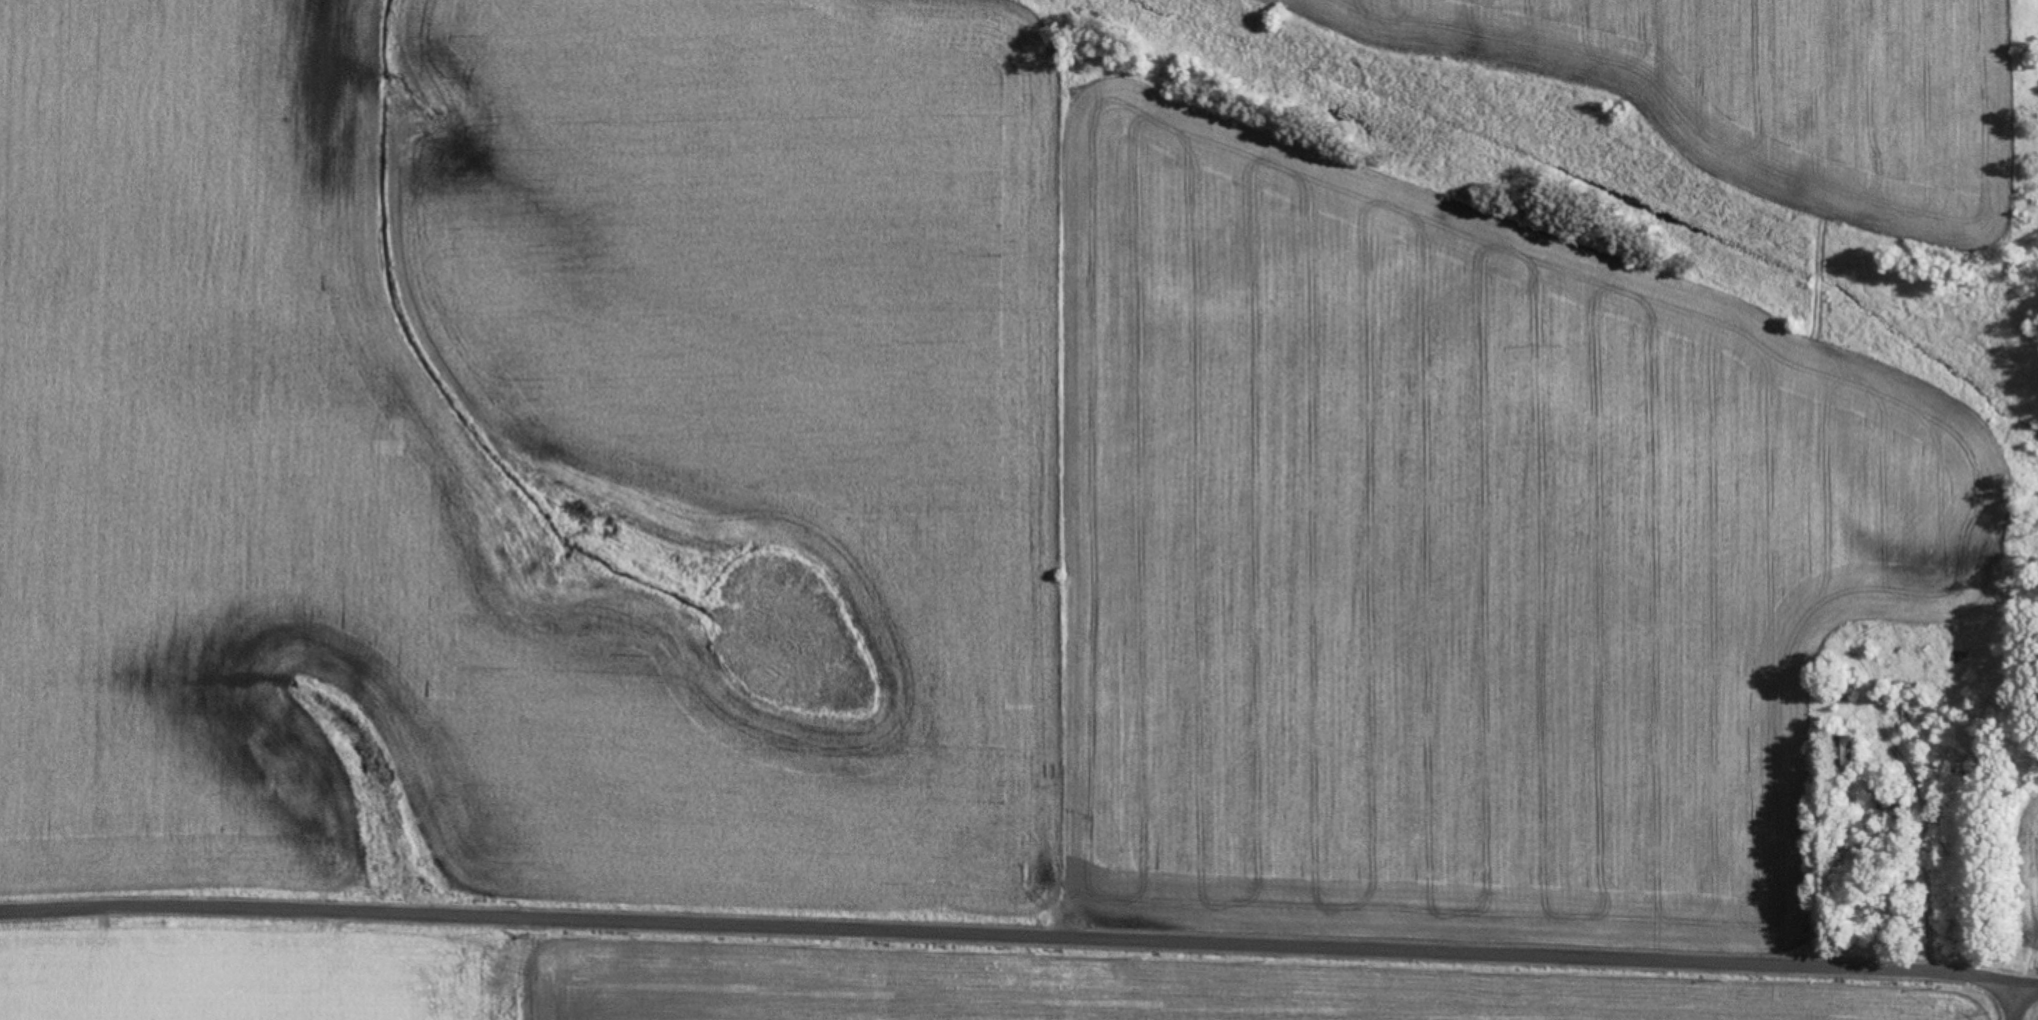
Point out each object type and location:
building: (1841, 696)
building: (1841, 752)
building: (1888, 806)
road: (991, 924)
road: (2010, 975)
road: (1982, 997)

